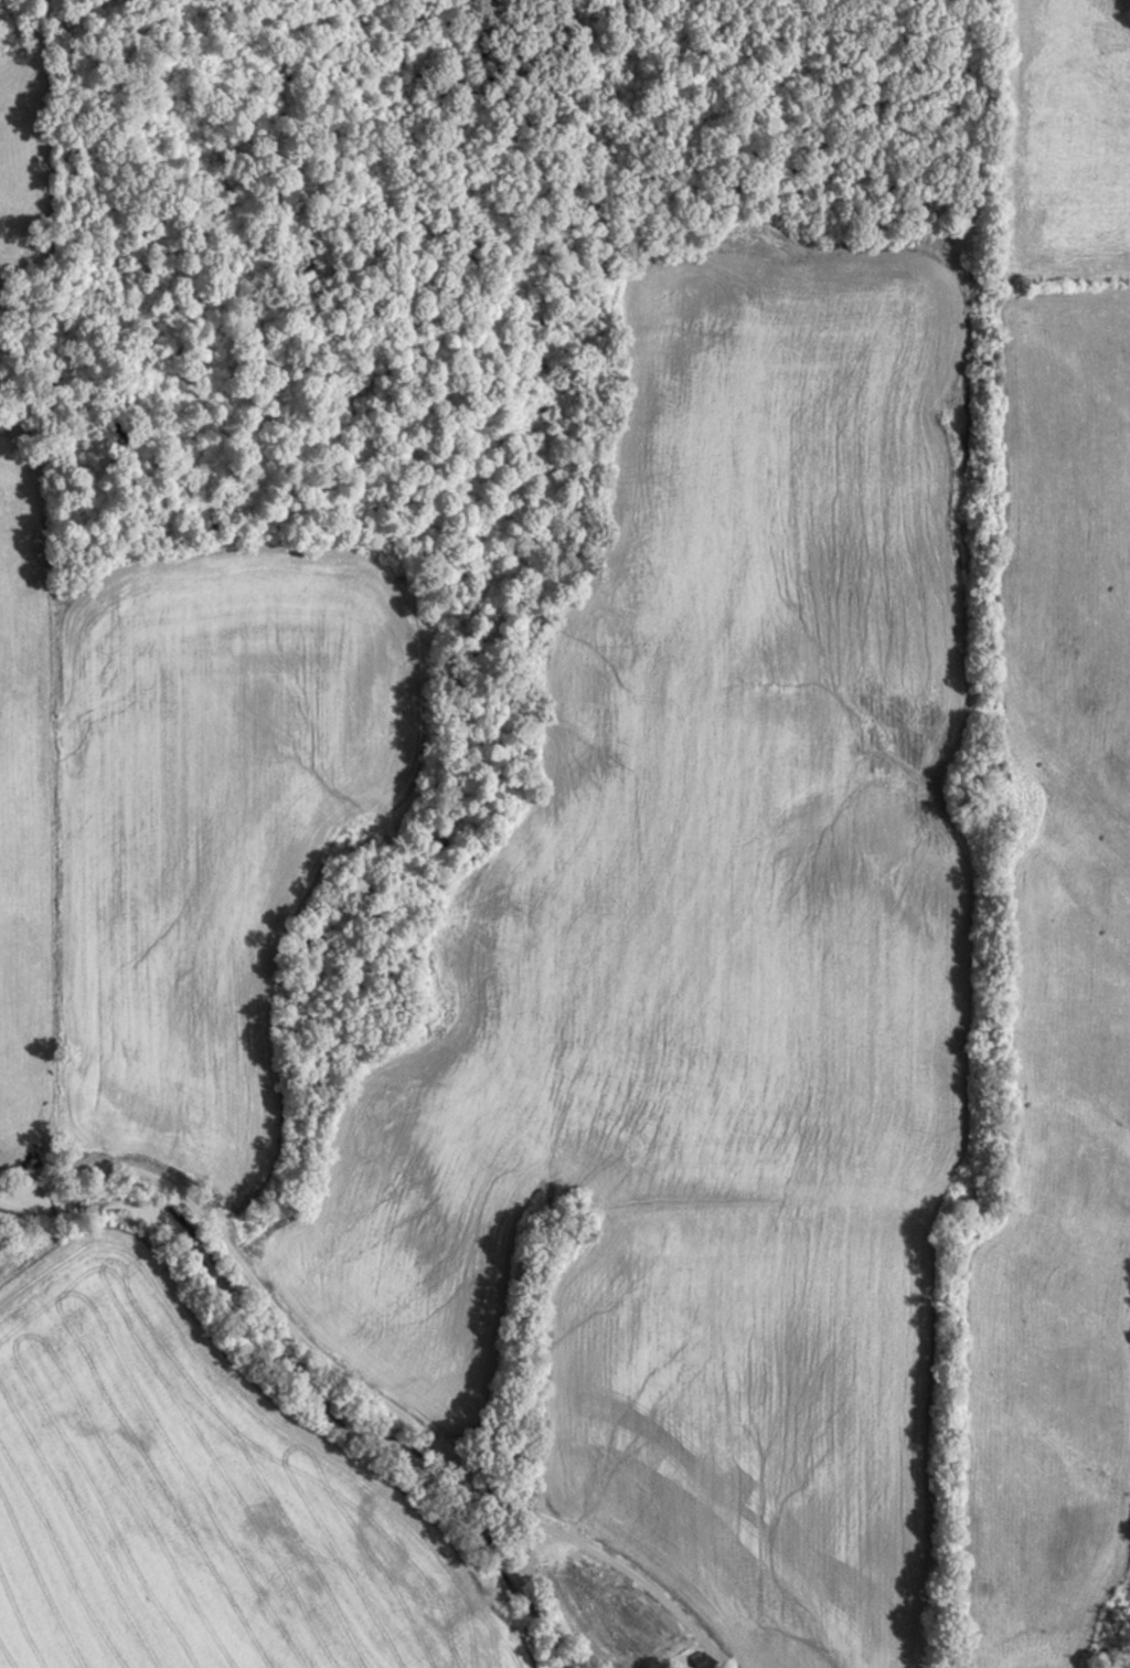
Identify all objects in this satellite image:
road: (361, 1388)

